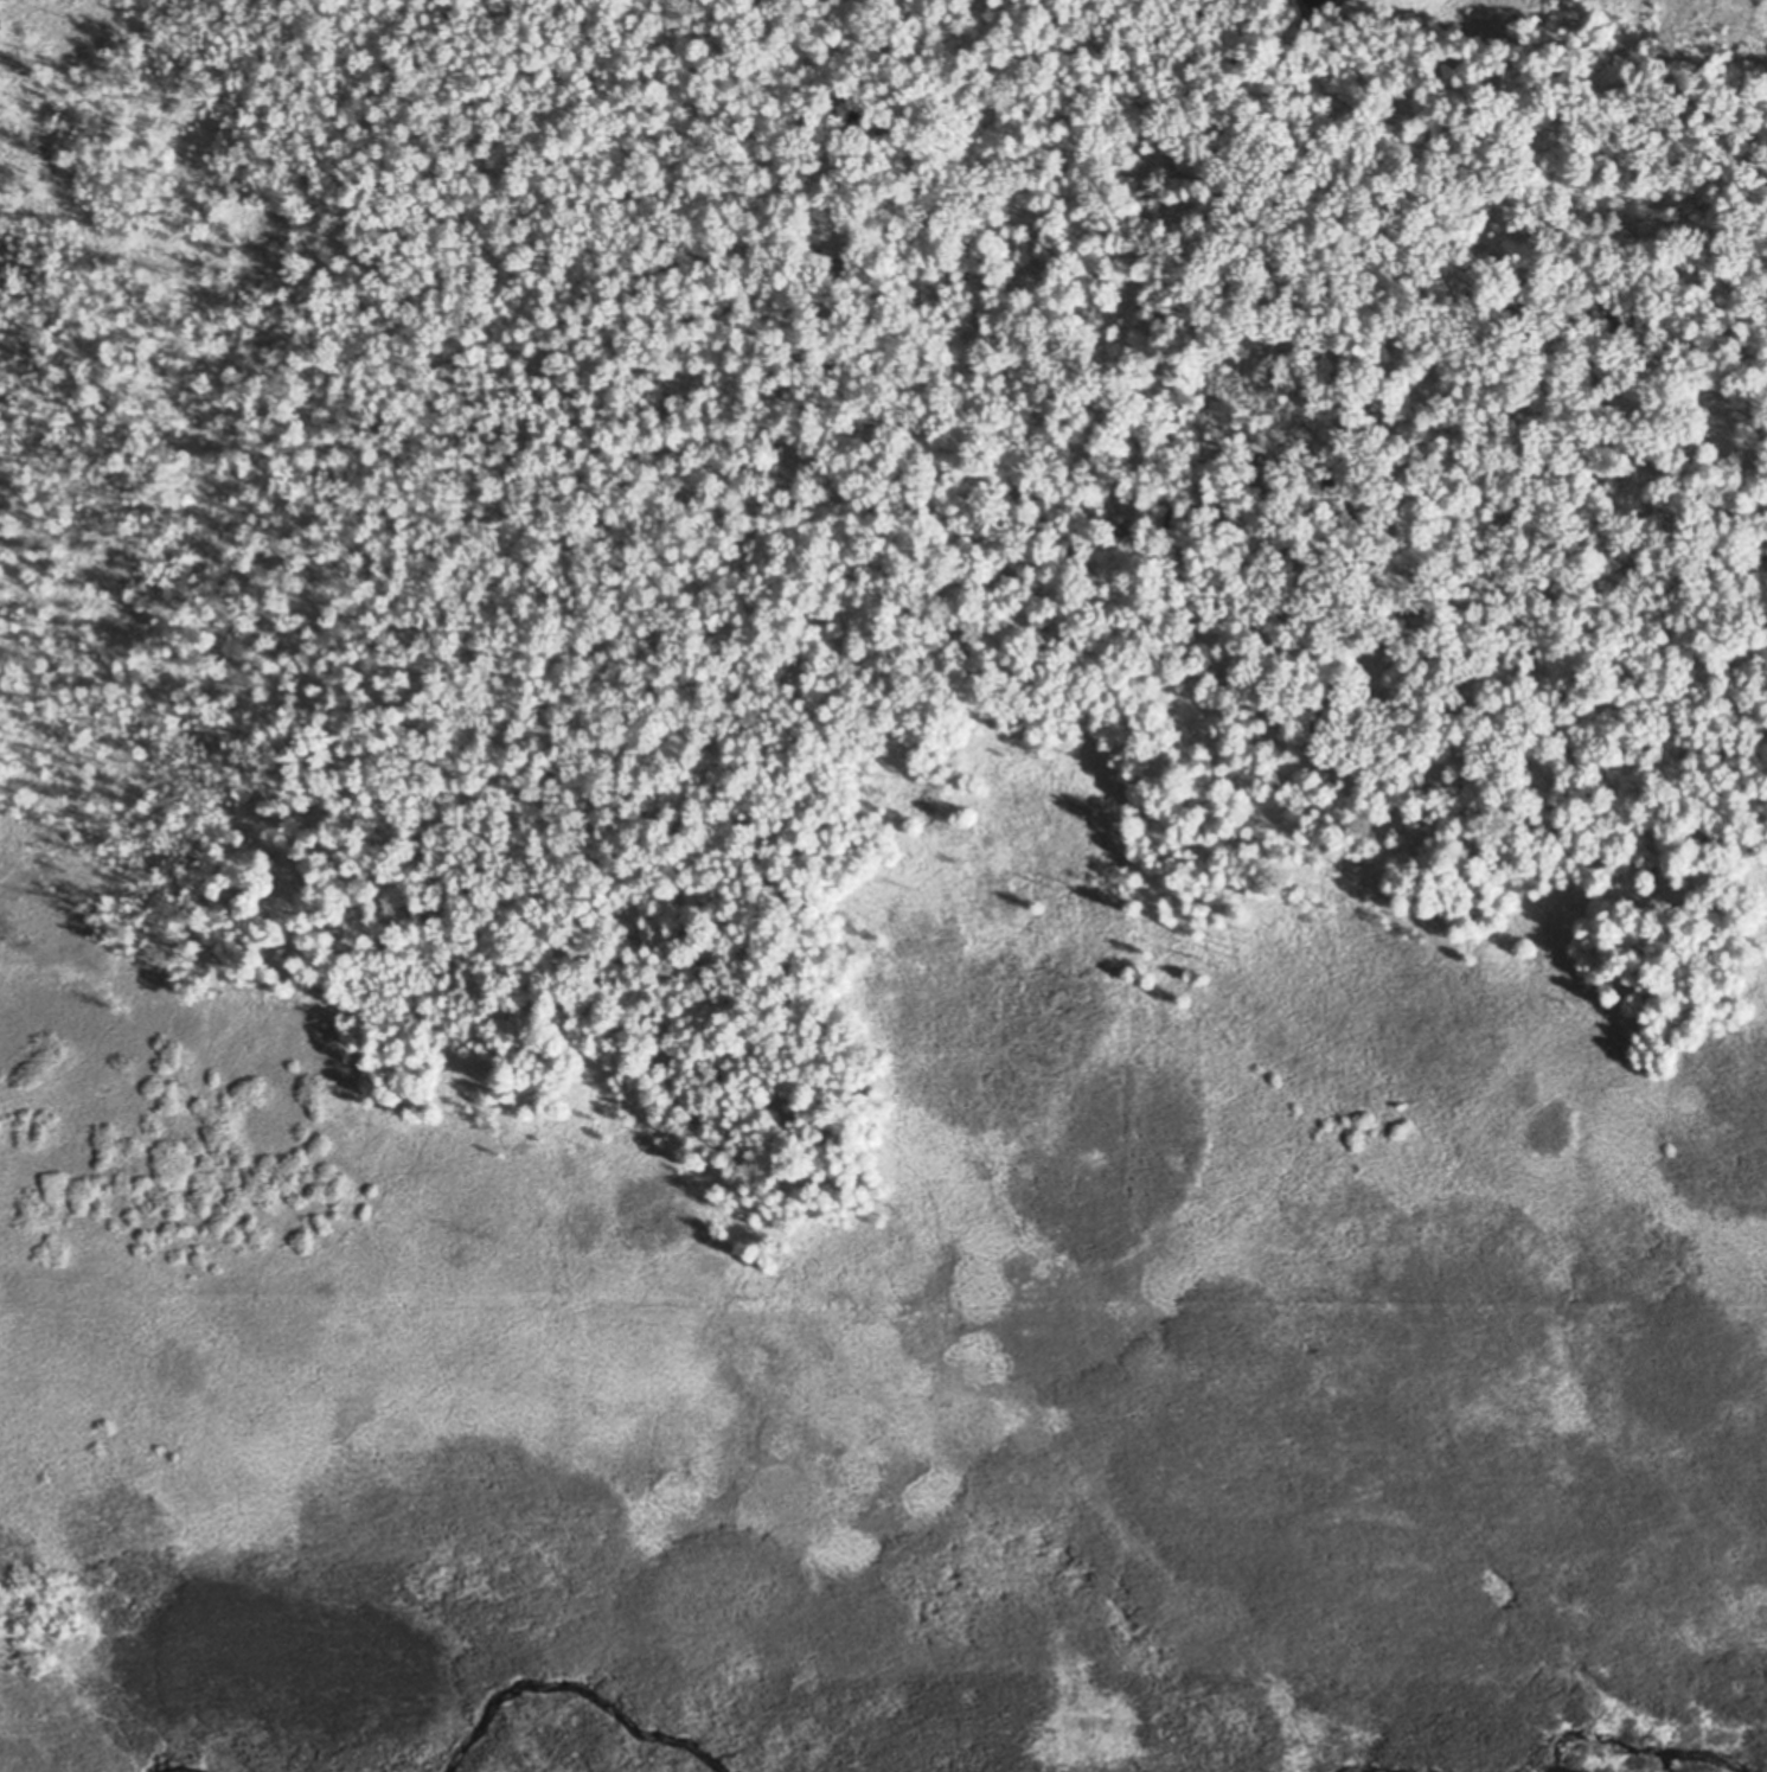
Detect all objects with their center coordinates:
river: (575, 1689)
river: (1640, 1747)

